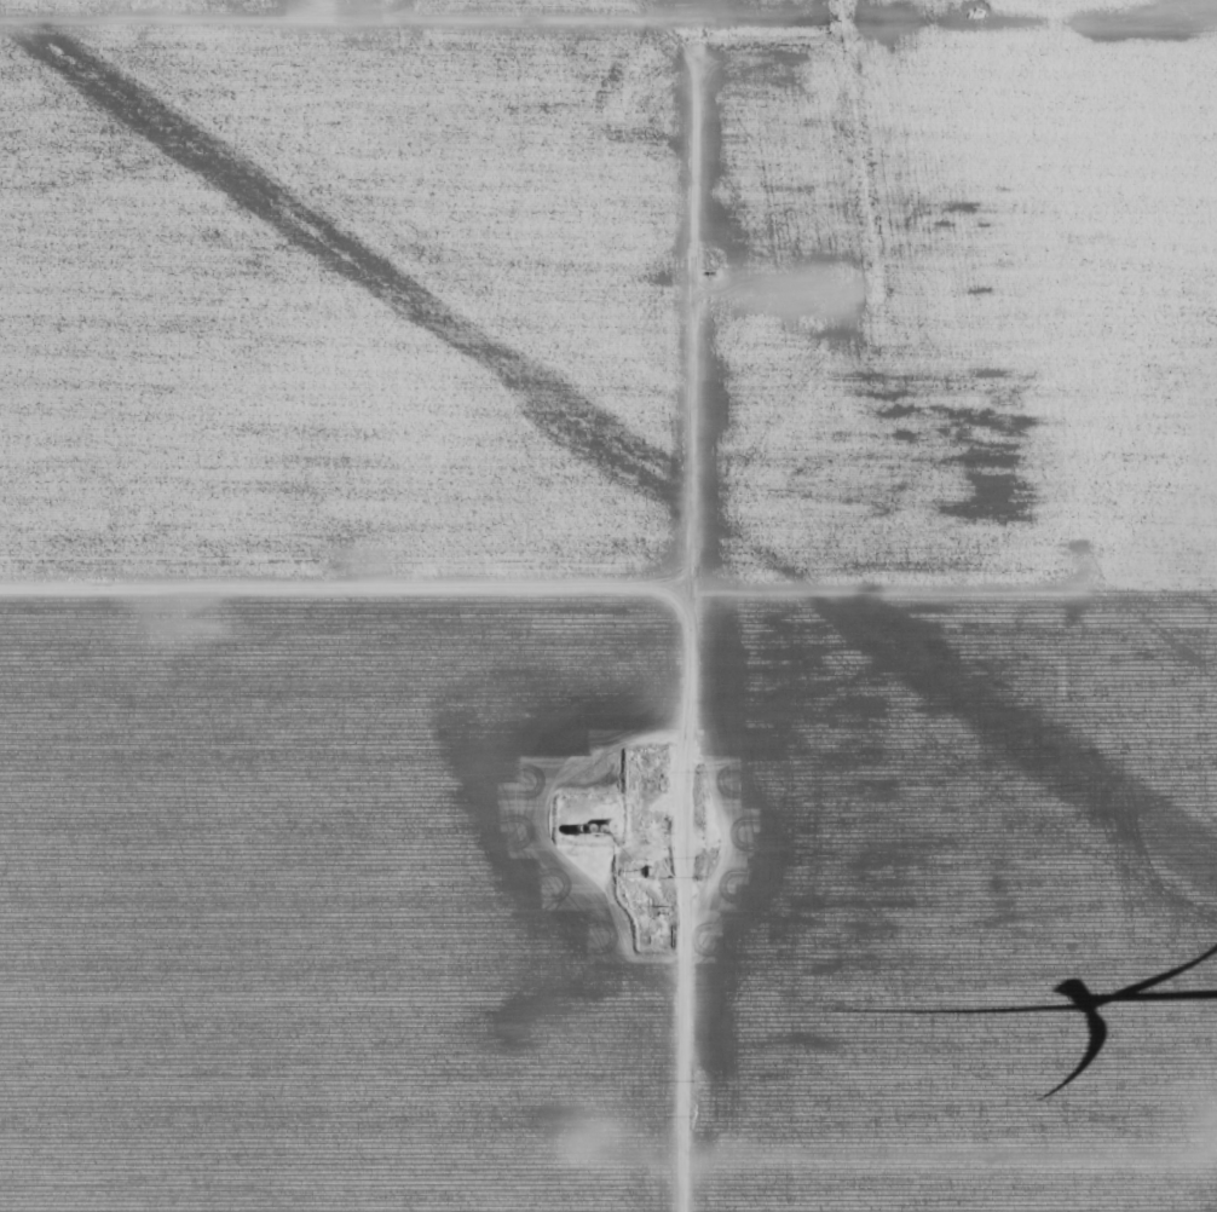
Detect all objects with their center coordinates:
road: (713, 270)
road: (356, 591)
road: (958, 1196)

